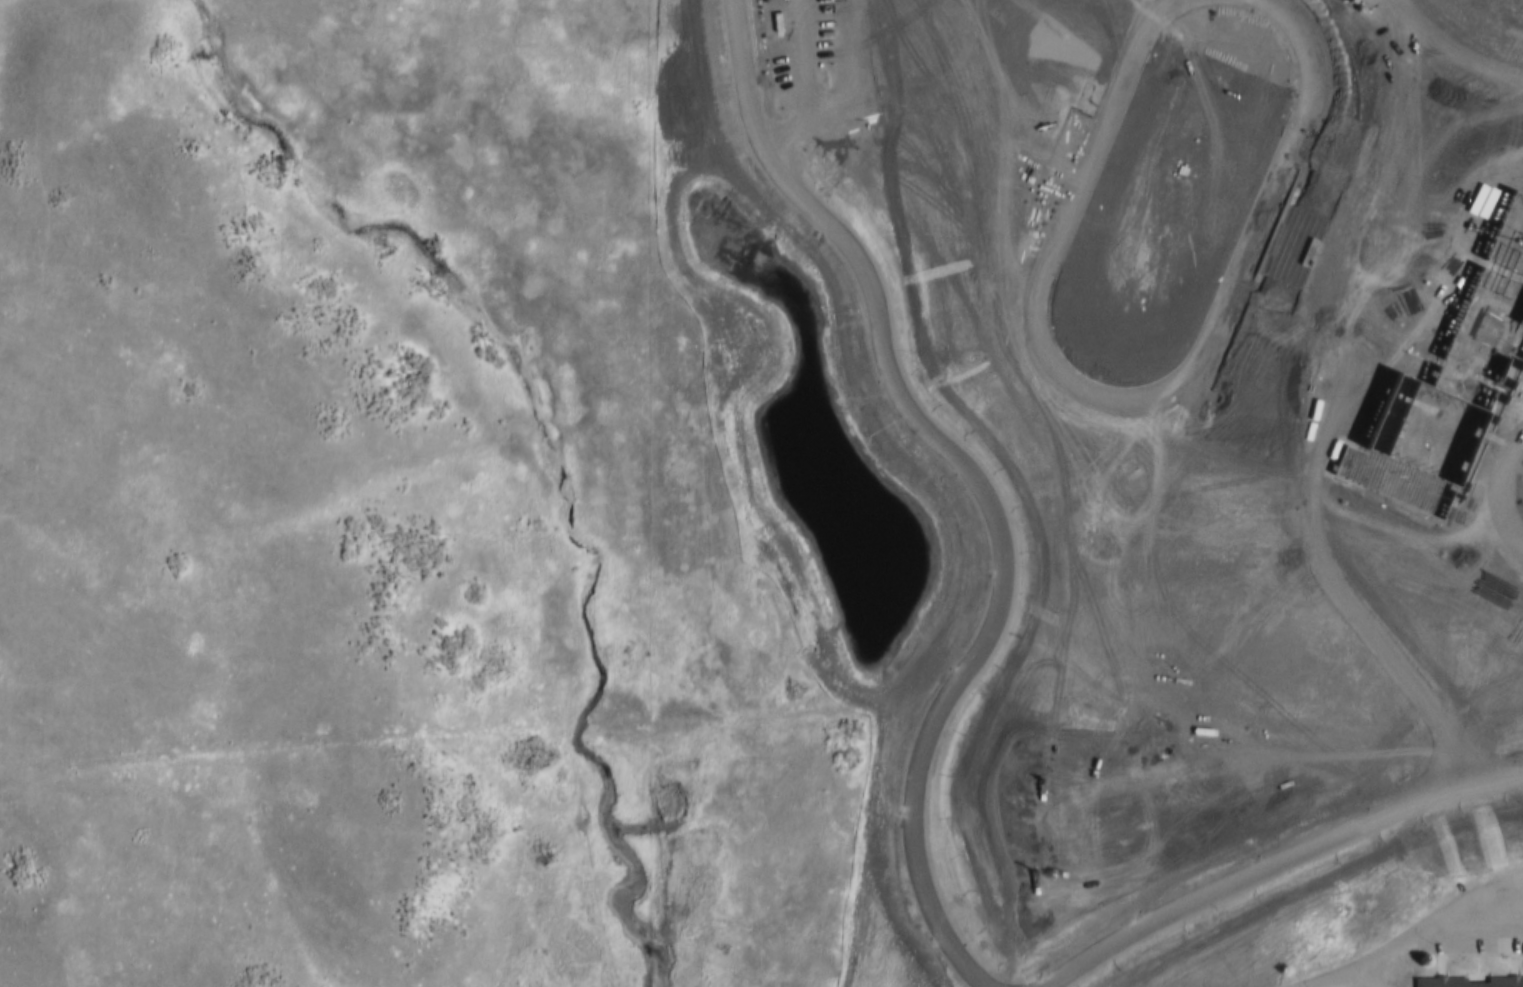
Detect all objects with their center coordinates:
parking lot: (1480, 911)
road: (1420, 927)
road: (1372, 976)
building: (1437, 982)

